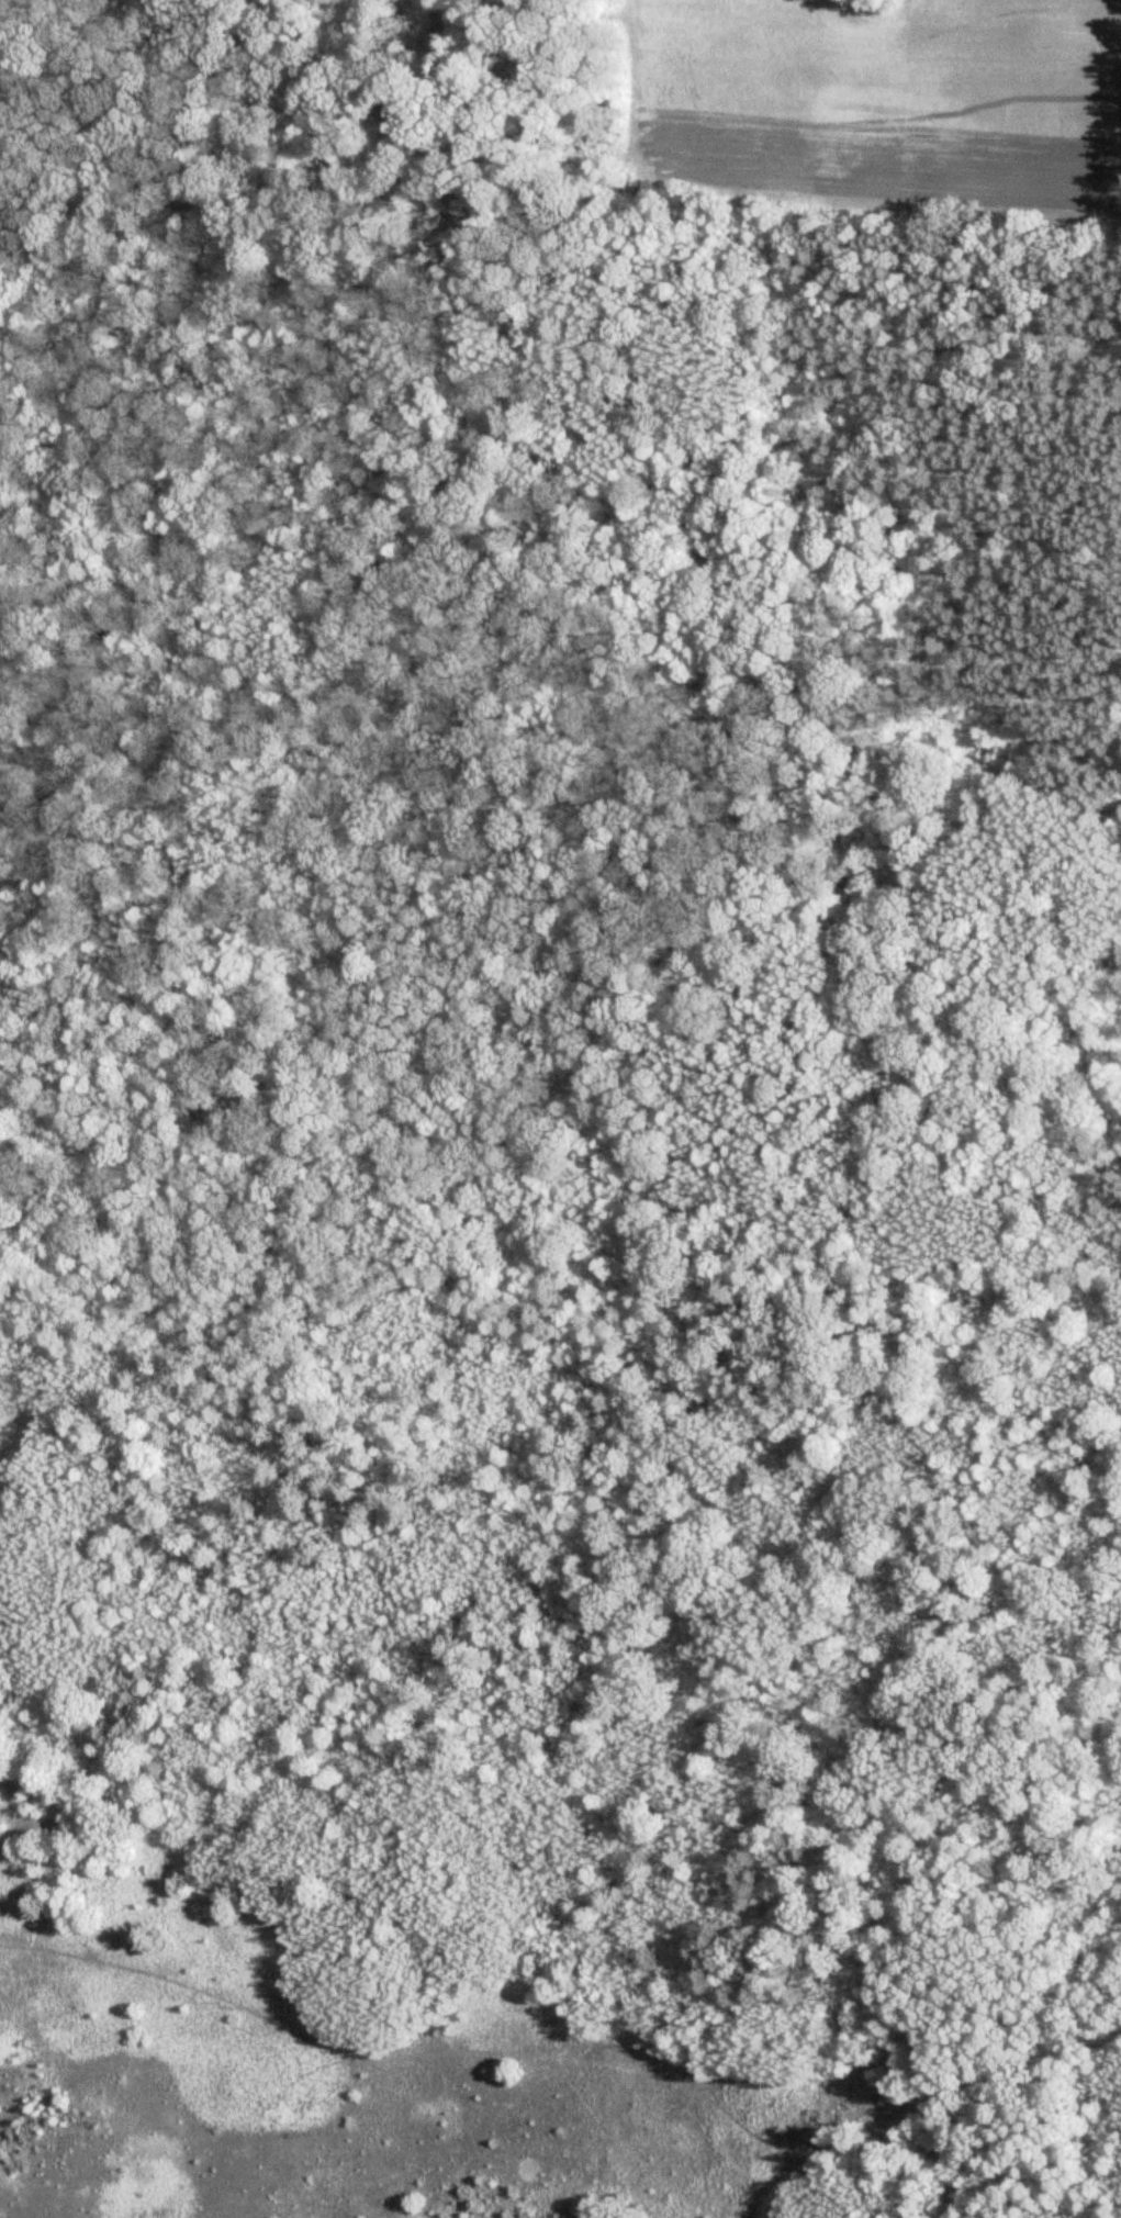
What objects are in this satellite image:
building: (874, 2075)
road: (760, 2101)

